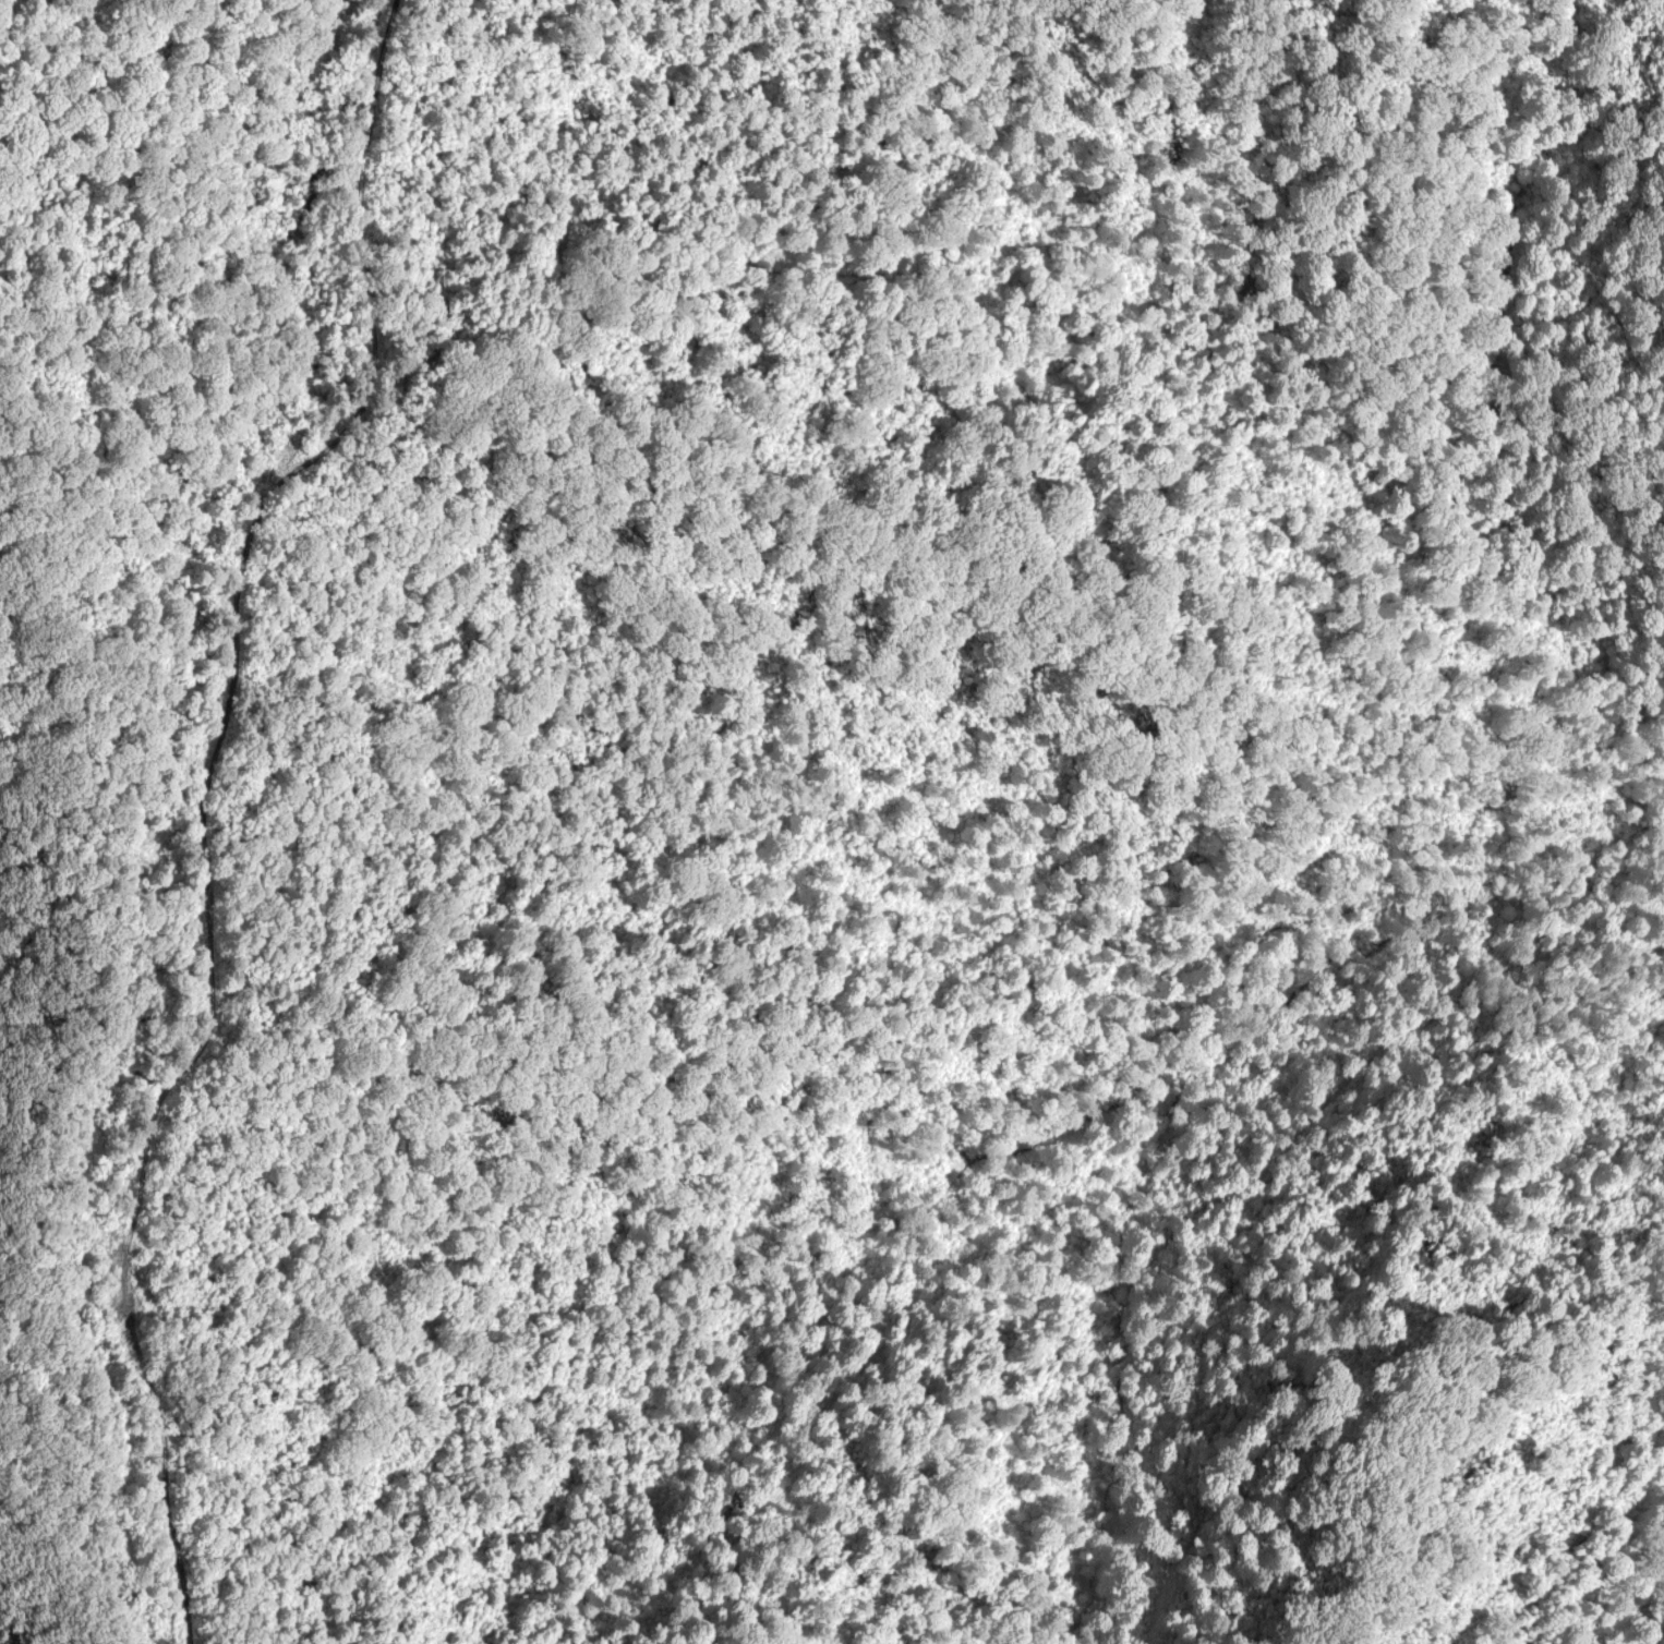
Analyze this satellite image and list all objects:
road: (2, 1640)

